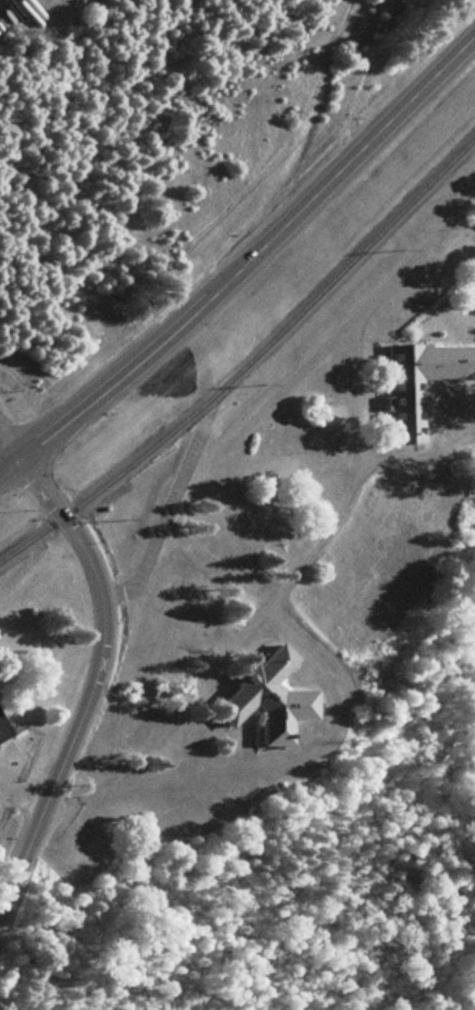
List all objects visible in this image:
road: (238, 250)
railway: (249, 360)
building: (417, 382)
road: (10, 443)
road: (92, 677)
building: (264, 698)
building: (1, 733)
road: (22, 792)

